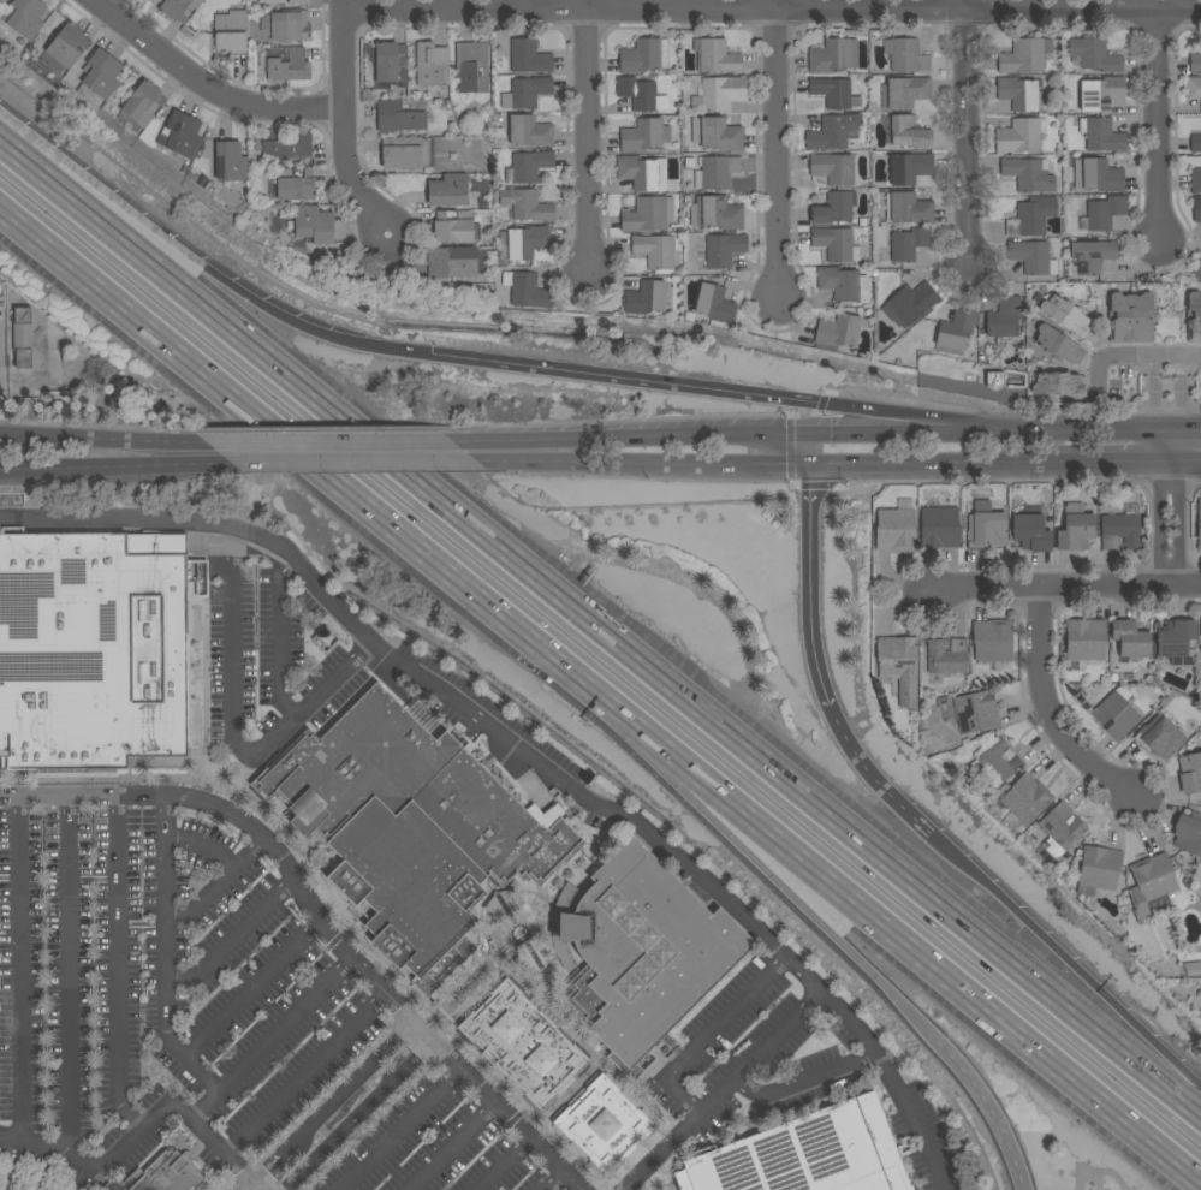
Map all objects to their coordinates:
building: (0, 0)
building: (283, 1)
building: (178, 8)
road: (771, 10)
building: (23, 17)
building: (285, 25)
building: (230, 31)
building: (67, 44)
building: (1094, 54)
building: (644, 55)
building: (832, 55)
building: (1024, 55)
building: (528, 56)
building: (715, 56)
building: (908, 56)
building: (1194, 63)
building: (286, 64)
building: (387, 64)
building: (50, 65)
building: (430, 65)
building: (471, 67)
building: (99, 76)
road: (206, 85)
building: (1194, 88)
building: (525, 93)
building: (834, 93)
building: (904, 93)
building: (1102, 93)
building: (641, 94)
building: (719, 94)
building: (1017, 94)
building: (143, 105)
building: (403, 115)
road: (1157, 123)
road: (343, 126)
building: (529, 131)
building: (833, 132)
building: (909, 132)
building: (180, 135)
building: (720, 135)
building: (1100, 135)
building: (643, 136)
building: (1021, 136)
road: (965, 137)
road: (585, 139)
building: (285, 144)
building: (1195, 144)
building: (405, 151)
road: (774, 151)
building: (230, 161)
building: (530, 165)
building: (832, 168)
building: (906, 168)
building: (640, 172)
building: (718, 172)
building: (1028, 175)
building: (1101, 175)
building: (1195, 182)
building: (295, 184)
building: (447, 190)
building: (525, 204)
building: (908, 208)
building: (834, 209)
building: (1196, 209)
building: (715, 213)
building: (1102, 213)
building: (647, 214)
building: (1031, 216)
building: (314, 225)
building: (453, 226)
building: (524, 242)
building: (909, 243)
building: (836, 244)
building: (654, 250)
building: (721, 250)
building: (1033, 257)
building: (1092, 257)
building: (454, 263)
road: (204, 264)
building: (1197, 269)
building: (840, 282)
building: (525, 290)
building: (644, 298)
building: (714, 303)
building: (910, 303)
building: (1065, 315)
building: (1004, 317)
building: (1130, 317)
building: (1194, 317)
building: (956, 331)
building: (0, 333)
building: (837, 333)
building: (22, 338)
building: (1058, 345)
road: (1129, 357)
building: (994, 380)
road: (664, 383)
building: (1060, 385)
road: (1167, 393)
road: (950, 423)
road: (1184, 430)
traffic signals: (834, 432)
road: (987, 432)
road: (638, 436)
road: (281, 439)
road: (105, 440)
road: (339, 441)
road: (1167, 446)
road: (808, 448)
road: (1184, 459)
road: (1112, 460)
road: (345, 463)
road: (643, 463)
road: (933, 463)
traffic signals: (789, 464)
road: (106, 465)
traffic signals: (811, 489)
road: (1167, 524)
building: (938, 525)
building: (1199, 525)
building: (1075, 529)
building: (1122, 529)
building: (894, 530)
building: (986, 530)
building: (1030, 532)
road: (810, 570)
park: (694, 573)
building: (201, 581)
road: (1064, 588)
park: (845, 594)
road: (278, 637)
road: (600, 637)
building: (1086, 639)
building: (1200, 639)
building: (992, 641)
building: (1129, 641)
building: (1175, 641)
building: (91, 650)
building: (946, 658)
building: (899, 667)
parking lot: (350, 676)
building: (976, 712)
road: (1050, 713)
building: (1117, 713)
road: (233, 724)
building: (1159, 738)
road: (528, 756)
building: (359, 760)
building: (995, 761)
road: (862, 763)
building: (1190, 773)
building: (1023, 799)
building: (494, 820)
building: (1062, 827)
building: (1188, 832)
road: (747, 852)
building: (1098, 870)
road: (210, 886)
building: (1151, 886)
building: (409, 887)
building: (500, 905)
road: (315, 926)
road: (881, 927)
road: (225, 941)
building: (640, 953)
road: (160, 956)
road: (118, 968)
road: (18, 970)
road: (1065, 971)
road: (69, 977)
parking lot: (162, 982)
road: (246, 988)
road: (711, 1035)
road: (267, 1040)
building: (523, 1045)
parking lot: (785, 1064)
road: (302, 1075)
road: (802, 1076)
road: (349, 1083)
road: (721, 1090)
road: (988, 1106)
road: (353, 1115)
building: (604, 1125)
road: (142, 1126)
road: (394, 1129)
parking lot: (450, 1141)
road: (447, 1147)
building: (804, 1154)
road: (272, 1161)
road: (499, 1162)
road: (1102, 1172)
building: (163, 1174)
road: (553, 1179)
road: (246, 1185)

